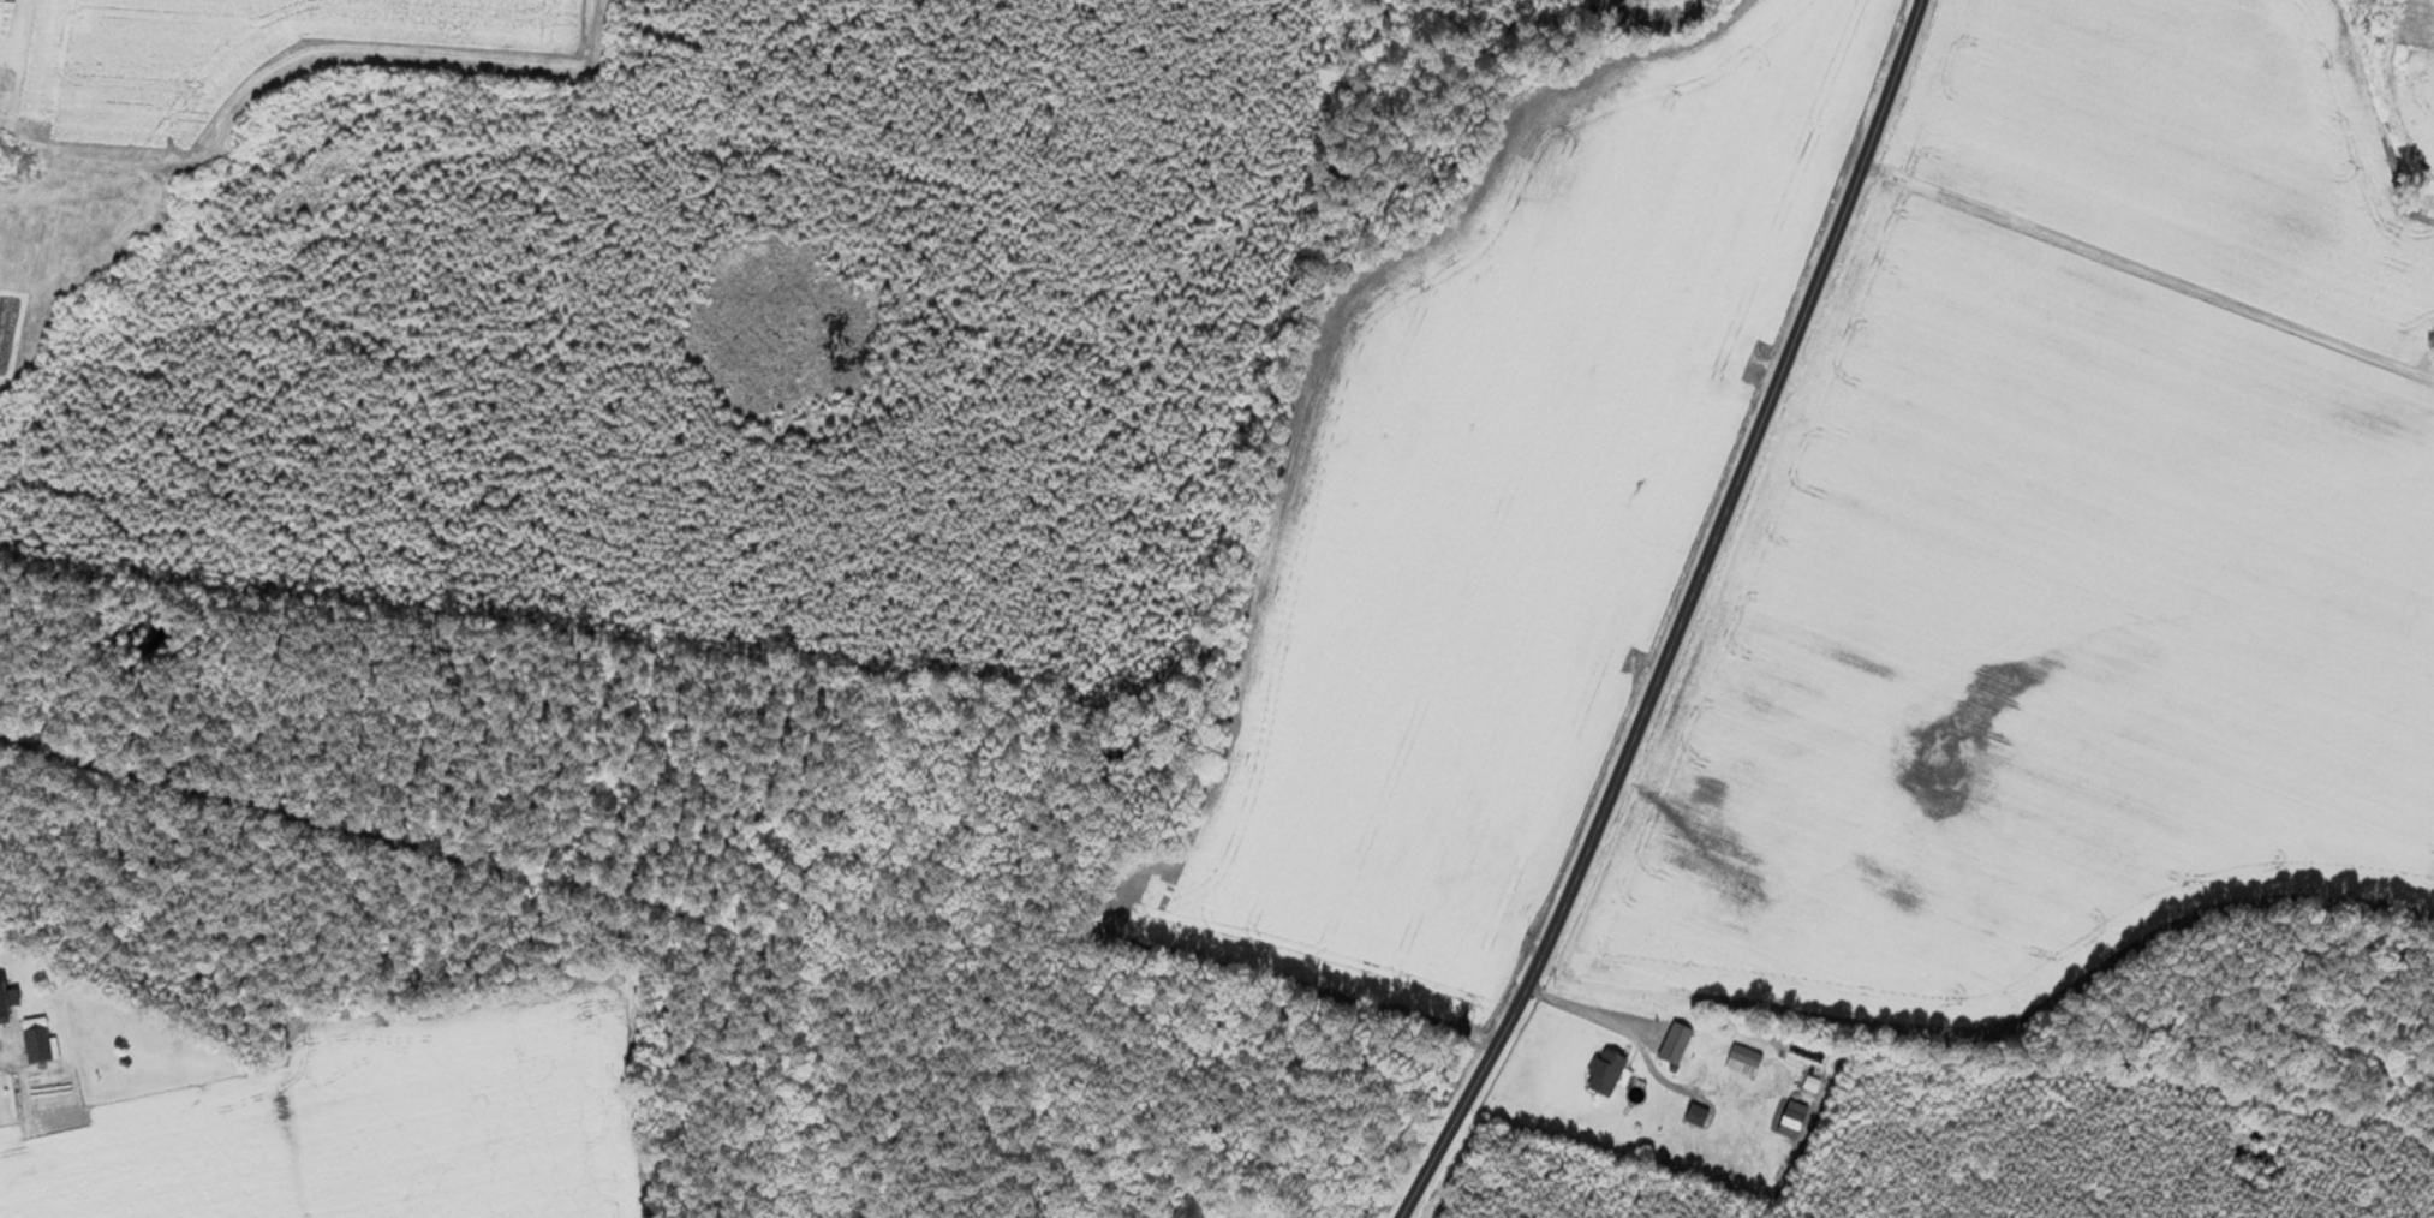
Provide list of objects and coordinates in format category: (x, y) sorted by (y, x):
road: (2146, 274)
road: (1683, 617)
building: (35, 1041)
building: (1674, 1045)
building: (1603, 1075)

